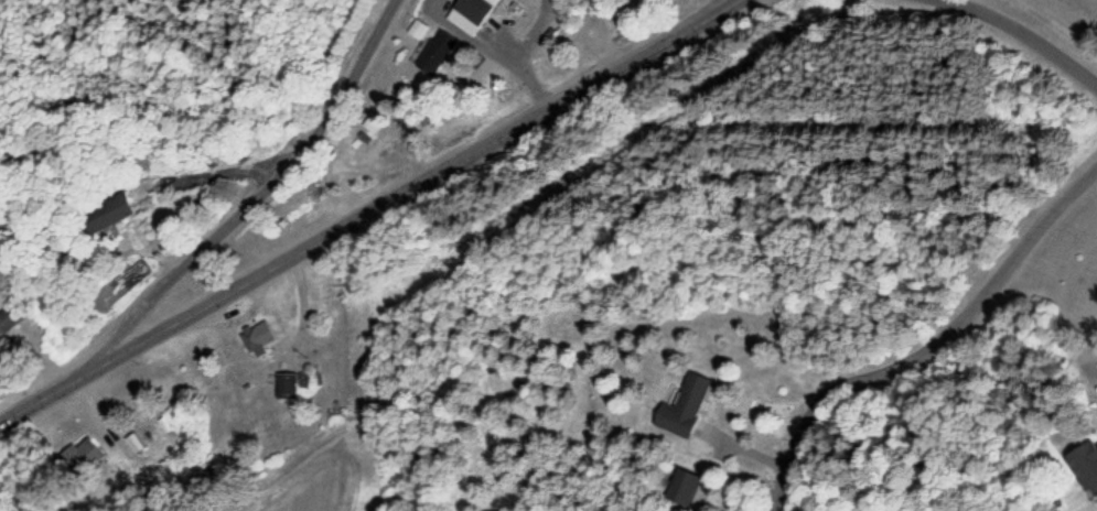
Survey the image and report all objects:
building: (472, 15)
road: (630, 29)
road: (1021, 37)
building: (438, 54)
building: (370, 128)
road: (260, 195)
road: (367, 211)
building: (119, 217)
building: (7, 320)
building: (257, 338)
road: (933, 348)
building: (291, 387)
building: (687, 410)
building: (82, 459)
building: (1084, 472)
building: (685, 490)

